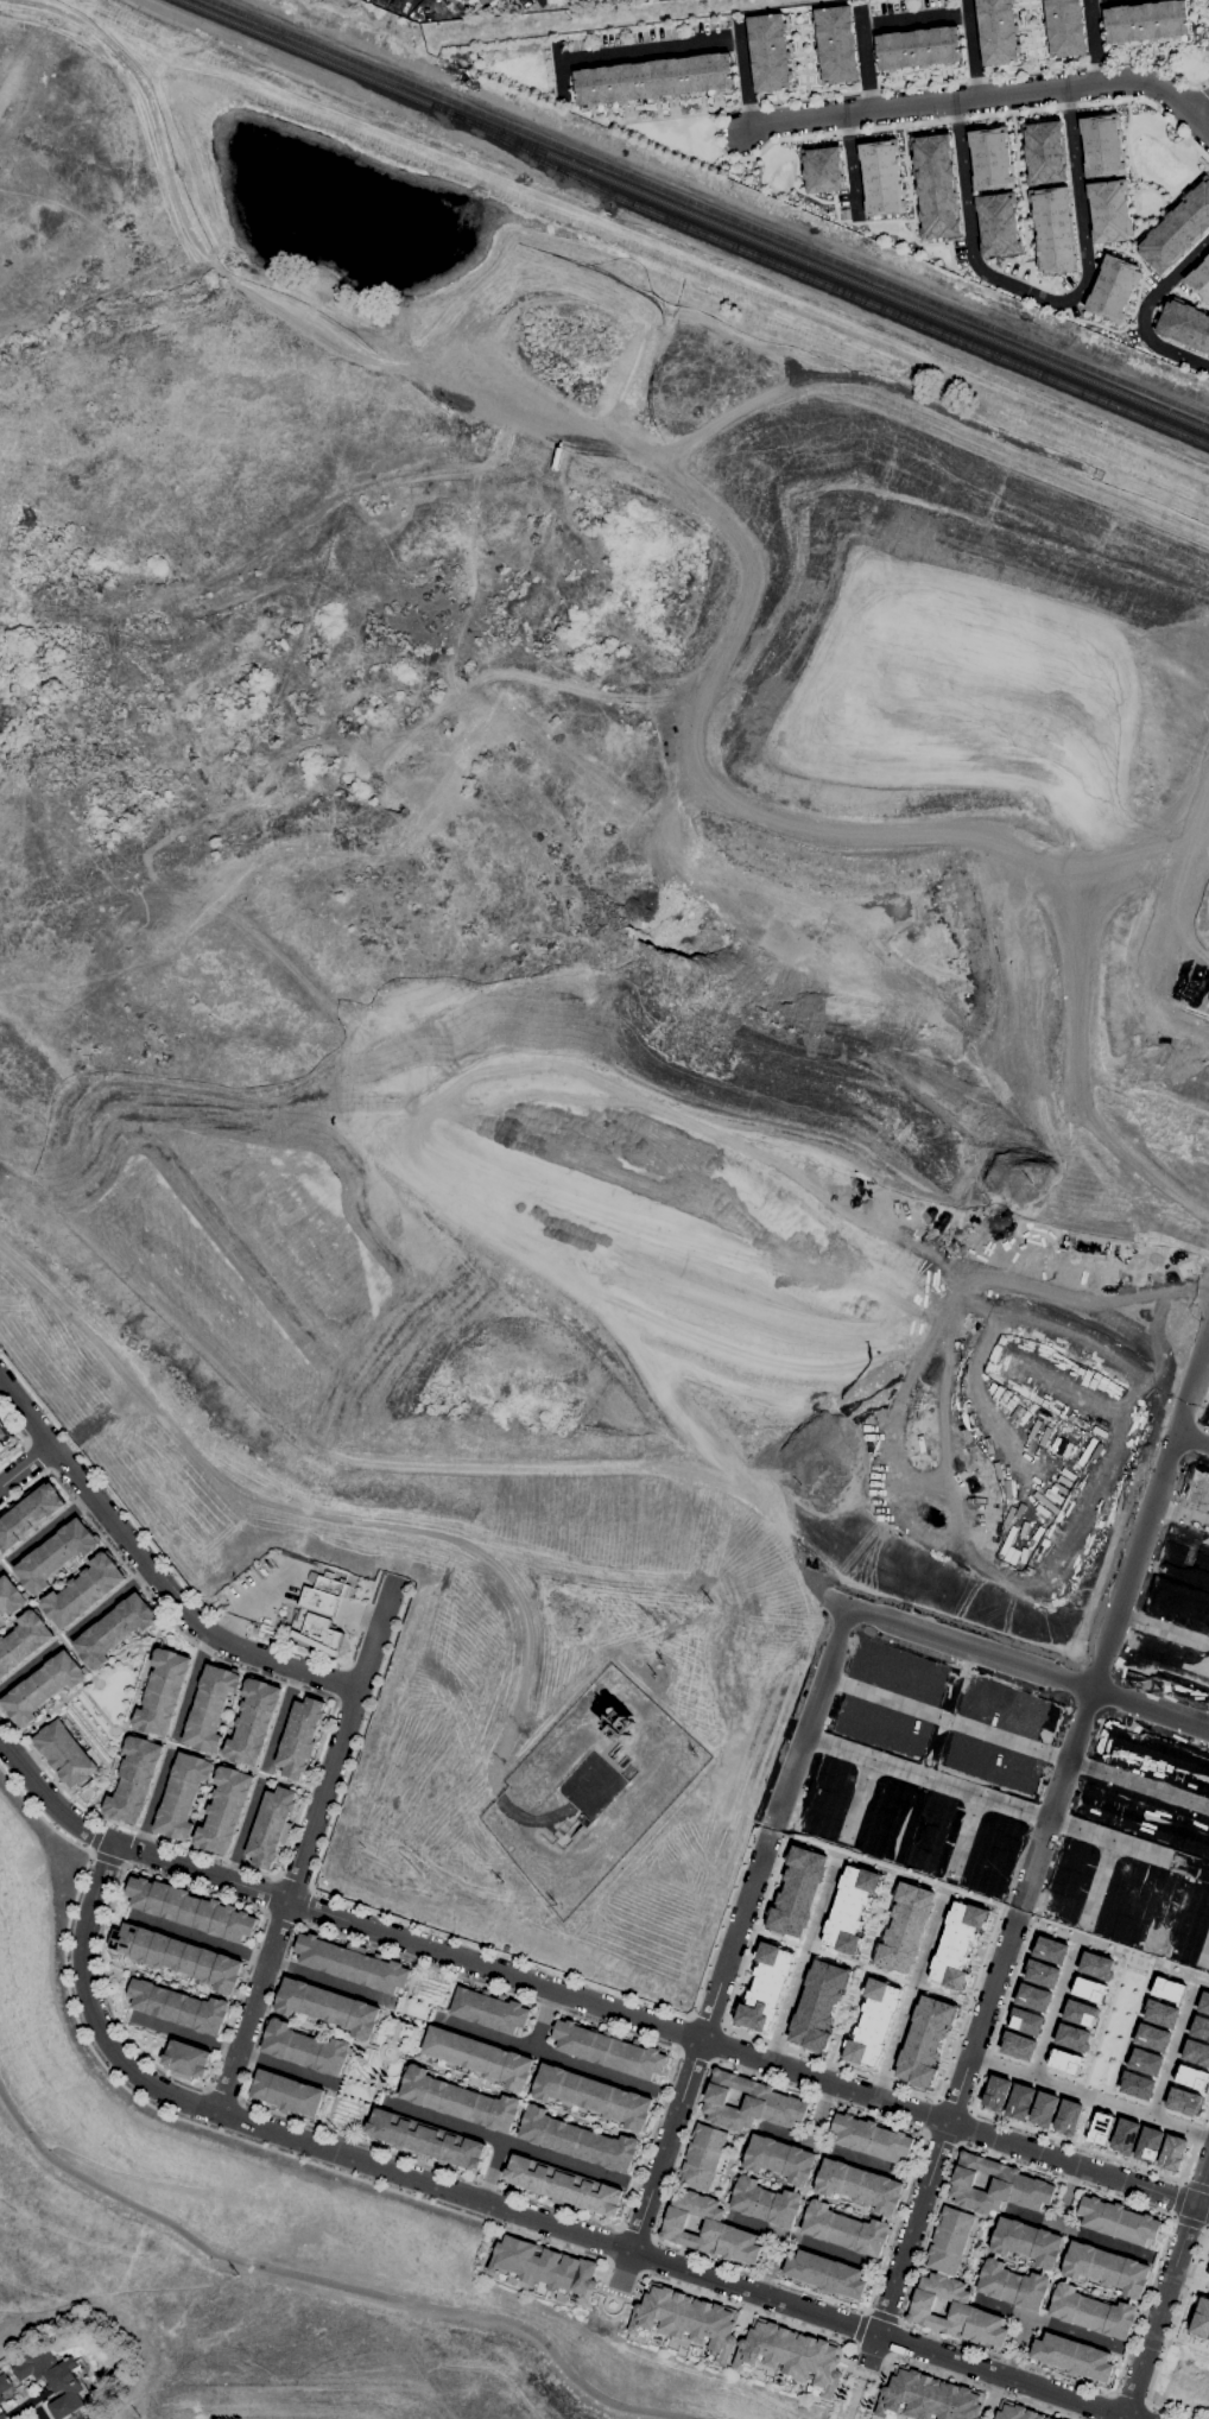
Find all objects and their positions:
road: (547, 0)
building: (620, 0)
building: (450, 2)
building: (482, 4)
road: (1205, 4)
road: (918, 19)
building: (1146, 23)
building: (1064, 27)
building: (998, 31)
road: (1031, 34)
road: (1096, 43)
building: (835, 44)
building: (918, 48)
road: (977, 49)
building: (770, 51)
road: (653, 52)
road: (803, 61)
road: (868, 62)
road: (563, 70)
road: (748, 78)
building: (653, 80)
road: (1201, 84)
road: (1205, 90)
road: (975, 100)
road: (1204, 115)
road: (639, 120)
road: (1204, 125)
road: (716, 141)
building: (1101, 145)
road: (1126, 145)
building: (1045, 152)
building: (990, 158)
building: (823, 169)
road: (852, 169)
building: (881, 177)
road: (1186, 183)
building: (936, 185)
road: (1020, 188)
road: (835, 203)
railway: (708, 208)
building: (1109, 210)
railway: (694, 214)
road: (1141, 216)
building: (998, 223)
building: (1053, 229)
building: (1177, 229)
road: (1135, 235)
road: (1125, 252)
road: (996, 267)
building: (1199, 279)
building: (1113, 289)
road: (1171, 291)
road: (1045, 298)
road: (1142, 310)
building: (1184, 325)
road: (1195, 1019)
building: (882, 1275)
building: (993, 1311)
building: (1114, 1343)
road: (1203, 1405)
building: (1044, 1423)
road: (1203, 1423)
road: (38, 1429)
building: (4, 1437)
road: (20, 1437)
road: (1189, 1437)
road: (1192, 1437)
road: (34, 1455)
road: (1198, 1458)
road: (64, 1462)
road: (26, 1463)
building: (923, 1478)
building: (1198, 1494)
road: (1169, 1508)
road: (1152, 1512)
road: (1182, 1514)
building: (30, 1515)
road: (51, 1525)
building: (1004, 1527)
road: (147, 1537)
building: (1188, 1549)
building: (57, 1554)
road: (2, 1562)
road: (150, 1570)
road: (1180, 1570)
building: (310, 1576)
road: (53, 1587)
building: (84, 1590)
parking lot: (266, 1590)
building: (11, 1596)
road: (254, 1600)
road: (112, 1601)
road: (34, 1602)
building: (1179, 1606)
road: (357, 1614)
road: (817, 1614)
building: (317, 1615)
parking lot: (346, 1615)
road: (363, 1615)
road: (1133, 1617)
road: (836, 1625)
road: (1163, 1628)
building: (115, 1629)
building: (24, 1641)
road: (78, 1658)
road: (1014, 1660)
road: (962, 1661)
building: (1170, 1661)
road: (26, 1668)
road: (360, 1670)
building: (903, 1670)
road: (95, 1673)
road: (524, 1676)
road: (341, 1679)
road: (190, 1685)
building: (44, 1687)
road: (1161, 1689)
building: (163, 1692)
road: (1107, 1693)
road: (876, 1695)
park: (108, 1699)
road: (95, 1705)
building: (1006, 1705)
road: (352, 1706)
building: (210, 1708)
road: (1084, 1709)
road: (283, 1715)
road: (128, 1717)
road: (787, 1718)
building: (254, 1722)
building: (619, 1723)
building: (880, 1727)
road: (1154, 1727)
road: (116, 1728)
road: (819, 1731)
building: (300, 1737)
road: (324, 1737)
road: (1011, 1741)
road: (171, 1744)
building: (65, 1754)
building: (1151, 1754)
road: (217, 1759)
building: (609, 1759)
building: (988, 1762)
road: (262, 1774)
building: (132, 1779)
road: (1138, 1782)
parking lot: (593, 1785)
building: (1207, 1785)
road: (857, 1794)
building: (182, 1796)
building: (827, 1798)
road: (152, 1799)
road: (1034, 1804)
road: (1004, 1805)
building: (224, 1810)
building: (1128, 1811)
road: (1066, 1815)
building: (879, 1816)
building: (584, 1820)
road: (772, 1820)
road: (906, 1823)
building: (271, 1826)
road: (549, 1826)
road: (243, 1831)
road: (964, 1832)
building: (565, 1834)
building: (933, 1834)
road: (94, 1835)
building: (1197, 1836)
road: (306, 1843)
road: (129, 1847)
building: (986, 1851)
road: (106, 1857)
building: (1078, 1858)
road: (1134, 1860)
road: (125, 1864)
road: (893, 1869)
building: (1125, 1875)
road: (1099, 1881)
road: (292, 1882)
road: (771, 1882)
building: (1070, 1882)
building: (140, 1892)
building: (796, 1892)
road: (270, 1894)
building: (158, 1898)
building: (1118, 1899)
building: (1194, 1899)
road: (347, 1900)
building: (175, 1904)
road: (304, 1905)
road: (1019, 1905)
building: (1062, 1907)
road: (1142, 1907)
building: (850, 1908)
building: (189, 1911)
building: (207, 1914)
road: (280, 1915)
road: (1166, 1915)
road: (722, 1919)
building: (222, 1920)
building: (1109, 1924)
building: (1189, 1924)
building: (241, 1926)
road: (1031, 1926)
building: (904, 1927)
road: (198, 1937)
building: (126, 1939)
building: (143, 1945)
building: (957, 1945)
building: (1182, 1946)
building: (1049, 1950)
building: (159, 1951)
road: (1208, 1951)
building: (176, 1953)
building: (191, 1959)
park: (1138, 1959)
building: (353, 1963)
road: (802, 1964)
building: (207, 1965)
road: (862, 1965)
building: (1095, 1965)
road: (861, 1967)
building: (1042, 1974)
building: (227, 1975)
road: (169, 1977)
road: (739, 1978)
road: (328, 1981)
building: (765, 1987)
building: (1088, 1989)
building: (1167, 1989)
building: (141, 1993)
road: (580, 1995)
building: (1032, 1997)
road: (909, 2000)
building: (158, 2001)
road: (403, 2001)
road: (966, 2002)
building: (1203, 2002)
building: (817, 2005)
building: (176, 2007)
building: (329, 2007)
building: (490, 2010)
building: (191, 2012)
road: (1053, 2013)
building: (1080, 2013)
building: (1160, 2013)
building: (214, 2016)
road: (544, 2018)
road: (707, 2020)
road: (1104, 2020)
building: (872, 2022)
building: (1026, 2022)
road: (306, 2025)
road: (1128, 2027)
building: (1199, 2028)
road: (683, 2032)
building: (1071, 2038)
building: (1152, 2038)
building: (924, 2040)
road: (715, 2043)
building: (1018, 2045)
road: (395, 2047)
road: (677, 2047)
building: (306, 2048)
road: (234, 2050)
building: (609, 2050)
fountain: (387, 2052)
road: (549, 2052)
building: (1196, 2052)
road: (1172, 2053)
road: (694, 2054)
road: (216, 2057)
building: (481, 2057)
building: (188, 2060)
building: (1064, 2062)
building: (1144, 2062)
road: (828, 2063)
road: (534, 2075)
building: (1191, 2077)
building: (1137, 2085)
road: (1095, 2086)
road: (223, 2092)
building: (289, 2092)
building: (995, 2092)
road: (1090, 2095)
road: (521, 2096)
building: (595, 2096)
road: (371, 2100)
building: (460, 2101)
building: (1183, 2101)
building: (1019, 2102)
building: (749, 2103)
road: (202, 2105)
road: (955, 2105)
building: (1043, 2109)
road: (821, 2113)
road: (235, 2116)
road: (928, 2116)
building: (1066, 2117)
road: (182, 2120)
road: (519, 2121)
road: (1084, 2121)
building: (1100, 2128)
road: (971, 2129)
road: (753, 2130)
road: (924, 2134)
building: (1125, 2135)
building: (872, 2138)
building: (426, 2139)
road: (942, 2139)
road: (507, 2141)
building: (580, 2141)
road: (1195, 2142)
building: (1147, 2145)
road: (1080, 2147)
road: (742, 2148)
road: (831, 2149)
building: (1171, 2153)
building: (703, 2157)
road: (659, 2158)
road: (493, 2170)
road: (740, 2170)
road: (749, 2173)
road: (773, 2180)
building: (799, 2180)
road: (1199, 2180)
building: (564, 2185)
building: (996, 2186)
road: (797, 2189)
road: (808, 2191)
road: (809, 2192)
road: (1065, 2195)
road: (821, 2196)
road: (853, 2208)
building: (887, 2208)
road: (1201, 2208)
road: (963, 2209)
road: (1173, 2209)
road: (513, 2210)
road: (1171, 2216)
road: (885, 2218)
road: (891, 2219)
building: (1119, 2221)
road: (1207, 2228)
building: (709, 2229)
road: (983, 2231)
road: (1078, 2231)
road: (634, 2233)
road: (800, 2240)
building: (950, 2240)
road: (907, 2242)
road: (612, 2243)
road: (645, 2255)
road: (996, 2256)
road: (768, 2262)
building: (1046, 2263)
road: (1020, 2265)
road: (624, 2266)
building: (543, 2268)
road: (1044, 2272)
building: (827, 2274)
road: (1055, 2274)
road: (1056, 2275)
building: (1208, 2275)
road: (970, 2276)
road: (494, 2279)
road: (1068, 2280)
road: (1190, 2280)
road: (328, 2281)
road: (1100, 2290)
building: (1133, 2291)
road: (614, 2295)
road: (1132, 2300)
road: (1138, 2303)
park: (609, 2310)
building: (956, 2311)
road: (1159, 2312)
road: (882, 2316)
building: (1201, 2318)
building: (688, 2319)
road: (1049, 2323)
road: (859, 2326)
road: (893, 2337)
road: (1189, 2343)
road: (1015, 2345)
road: (1165, 2345)
road: (871, 2348)
building: (792, 2354)
building: (1072, 2356)
road: (852, 2371)
building: (53, 2379)
building: (4, 2383)
park: (855, 2393)
building: (929, 2398)
road: (1129, 2398)
road: (1108, 2405)
building: (1015, 2412)
road: (1144, 2412)
building: (2, 2413)
building: (1049, 2418)

